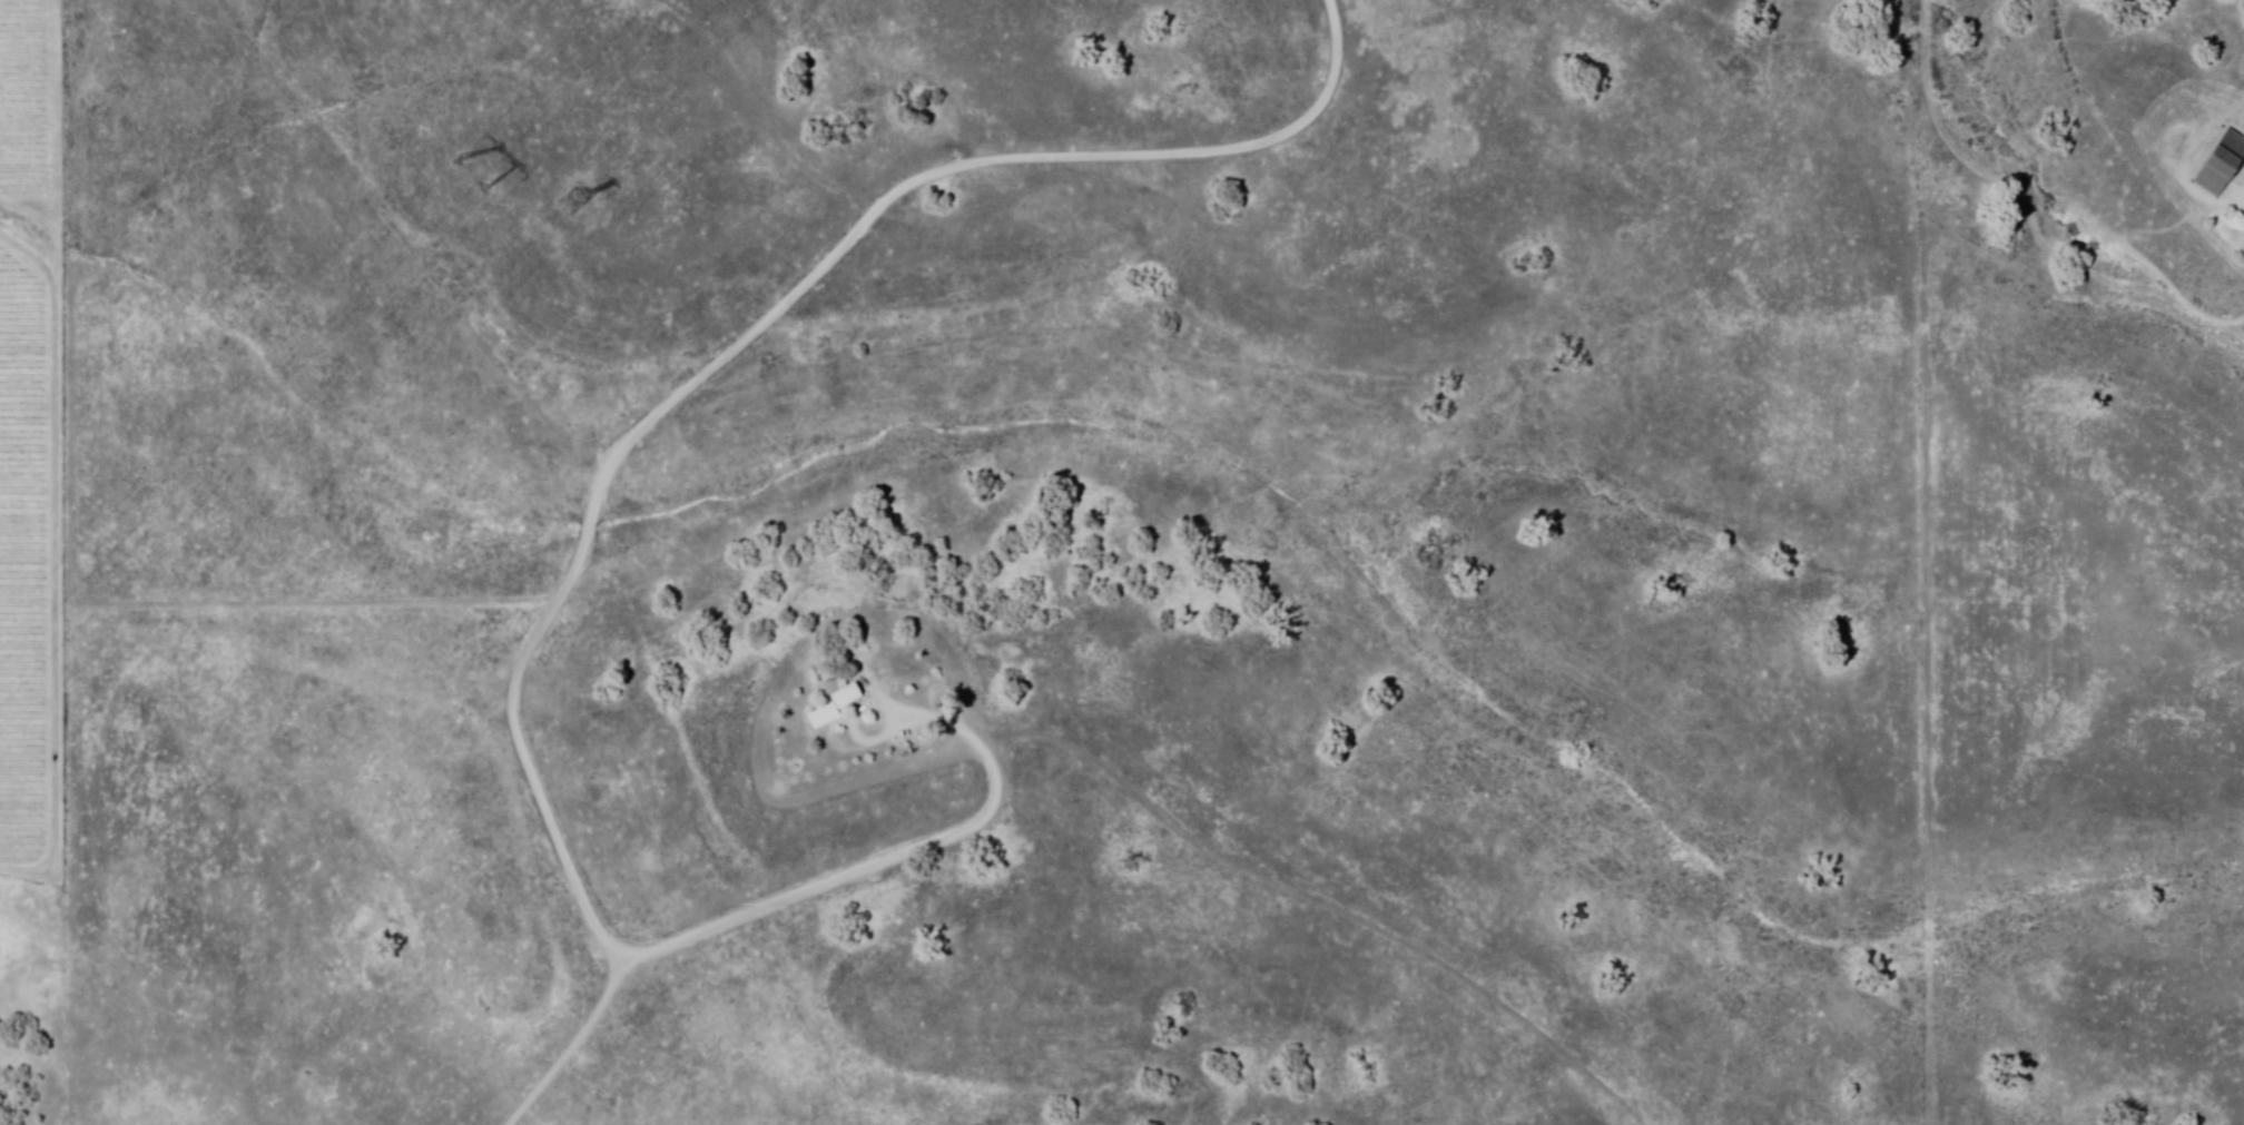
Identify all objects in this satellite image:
building: (2223, 164)
power tower: (471, 181)
power tower: (577, 218)
road: (593, 531)
building: (839, 689)
building: (852, 697)
building: (828, 717)

